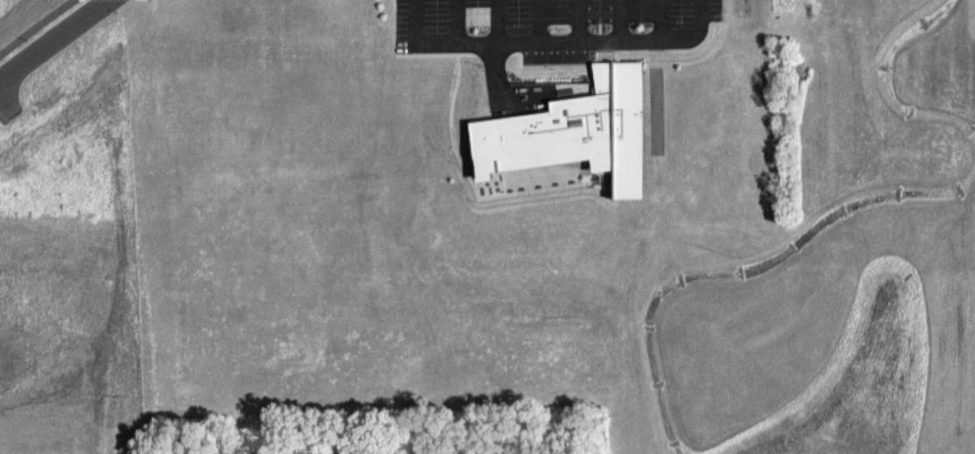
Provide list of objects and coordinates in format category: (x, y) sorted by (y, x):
road: (699, 15)
road: (658, 19)
road: (537, 20)
road: (579, 20)
road: (619, 20)
road: (413, 21)
road: (456, 21)
road: (497, 21)
road: (54, 40)
road: (557, 41)
road: (434, 53)
road: (603, 54)
road: (606, 57)
building: (576, 131)
road: (475, 169)
road: (493, 183)
road: (474, 189)
road: (492, 189)
road: (485, 190)

